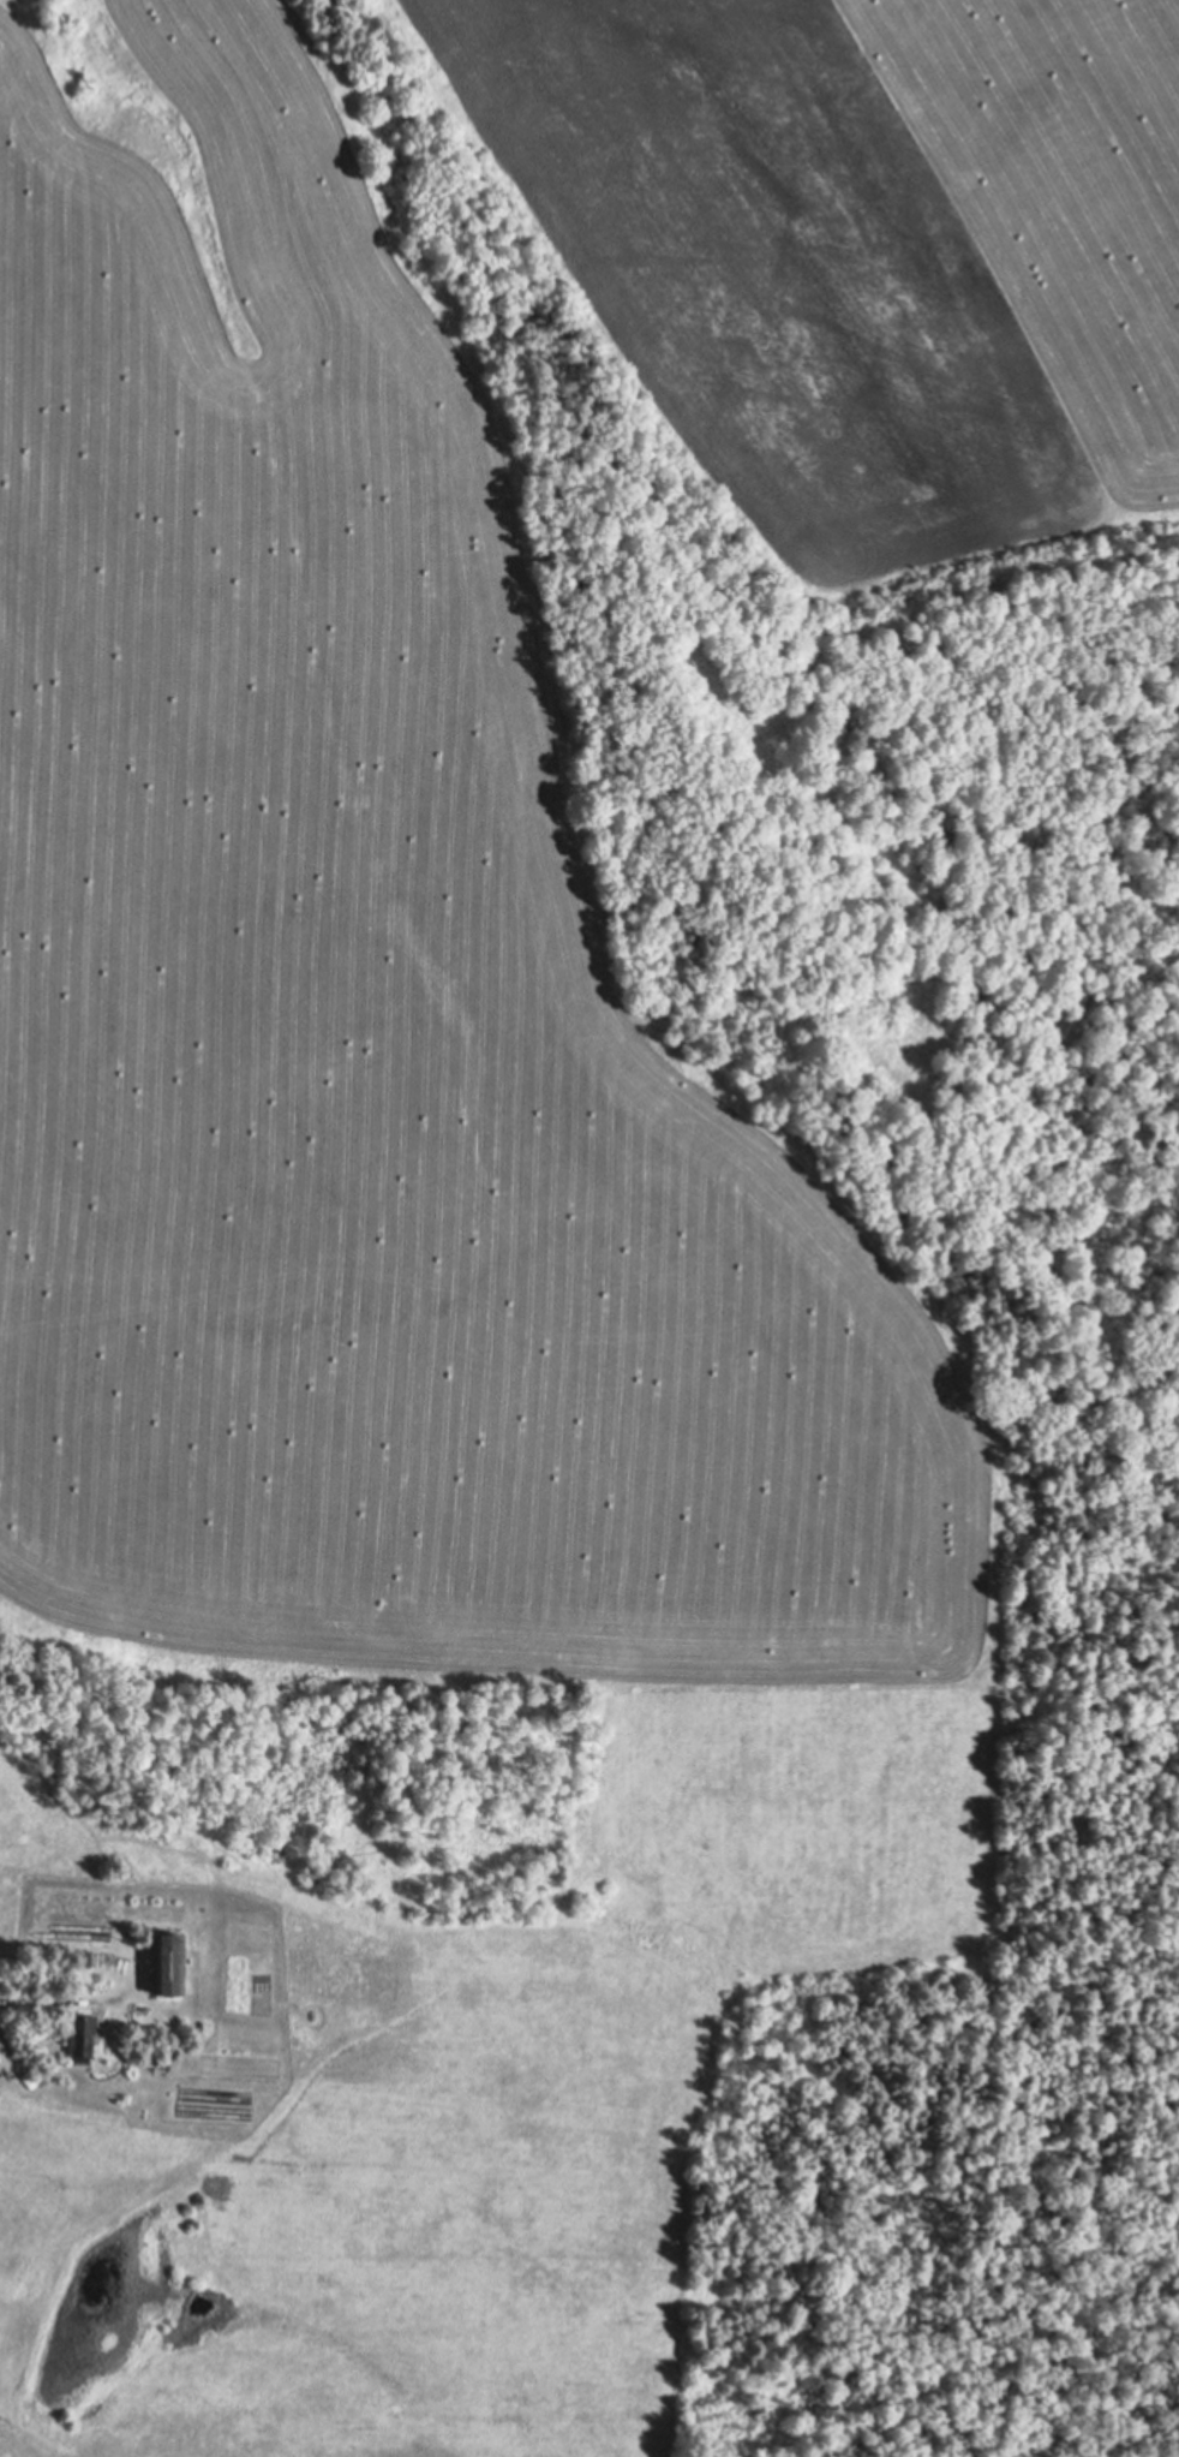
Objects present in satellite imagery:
building: (172, 1966)
road: (32, 2000)
building: (84, 2040)

